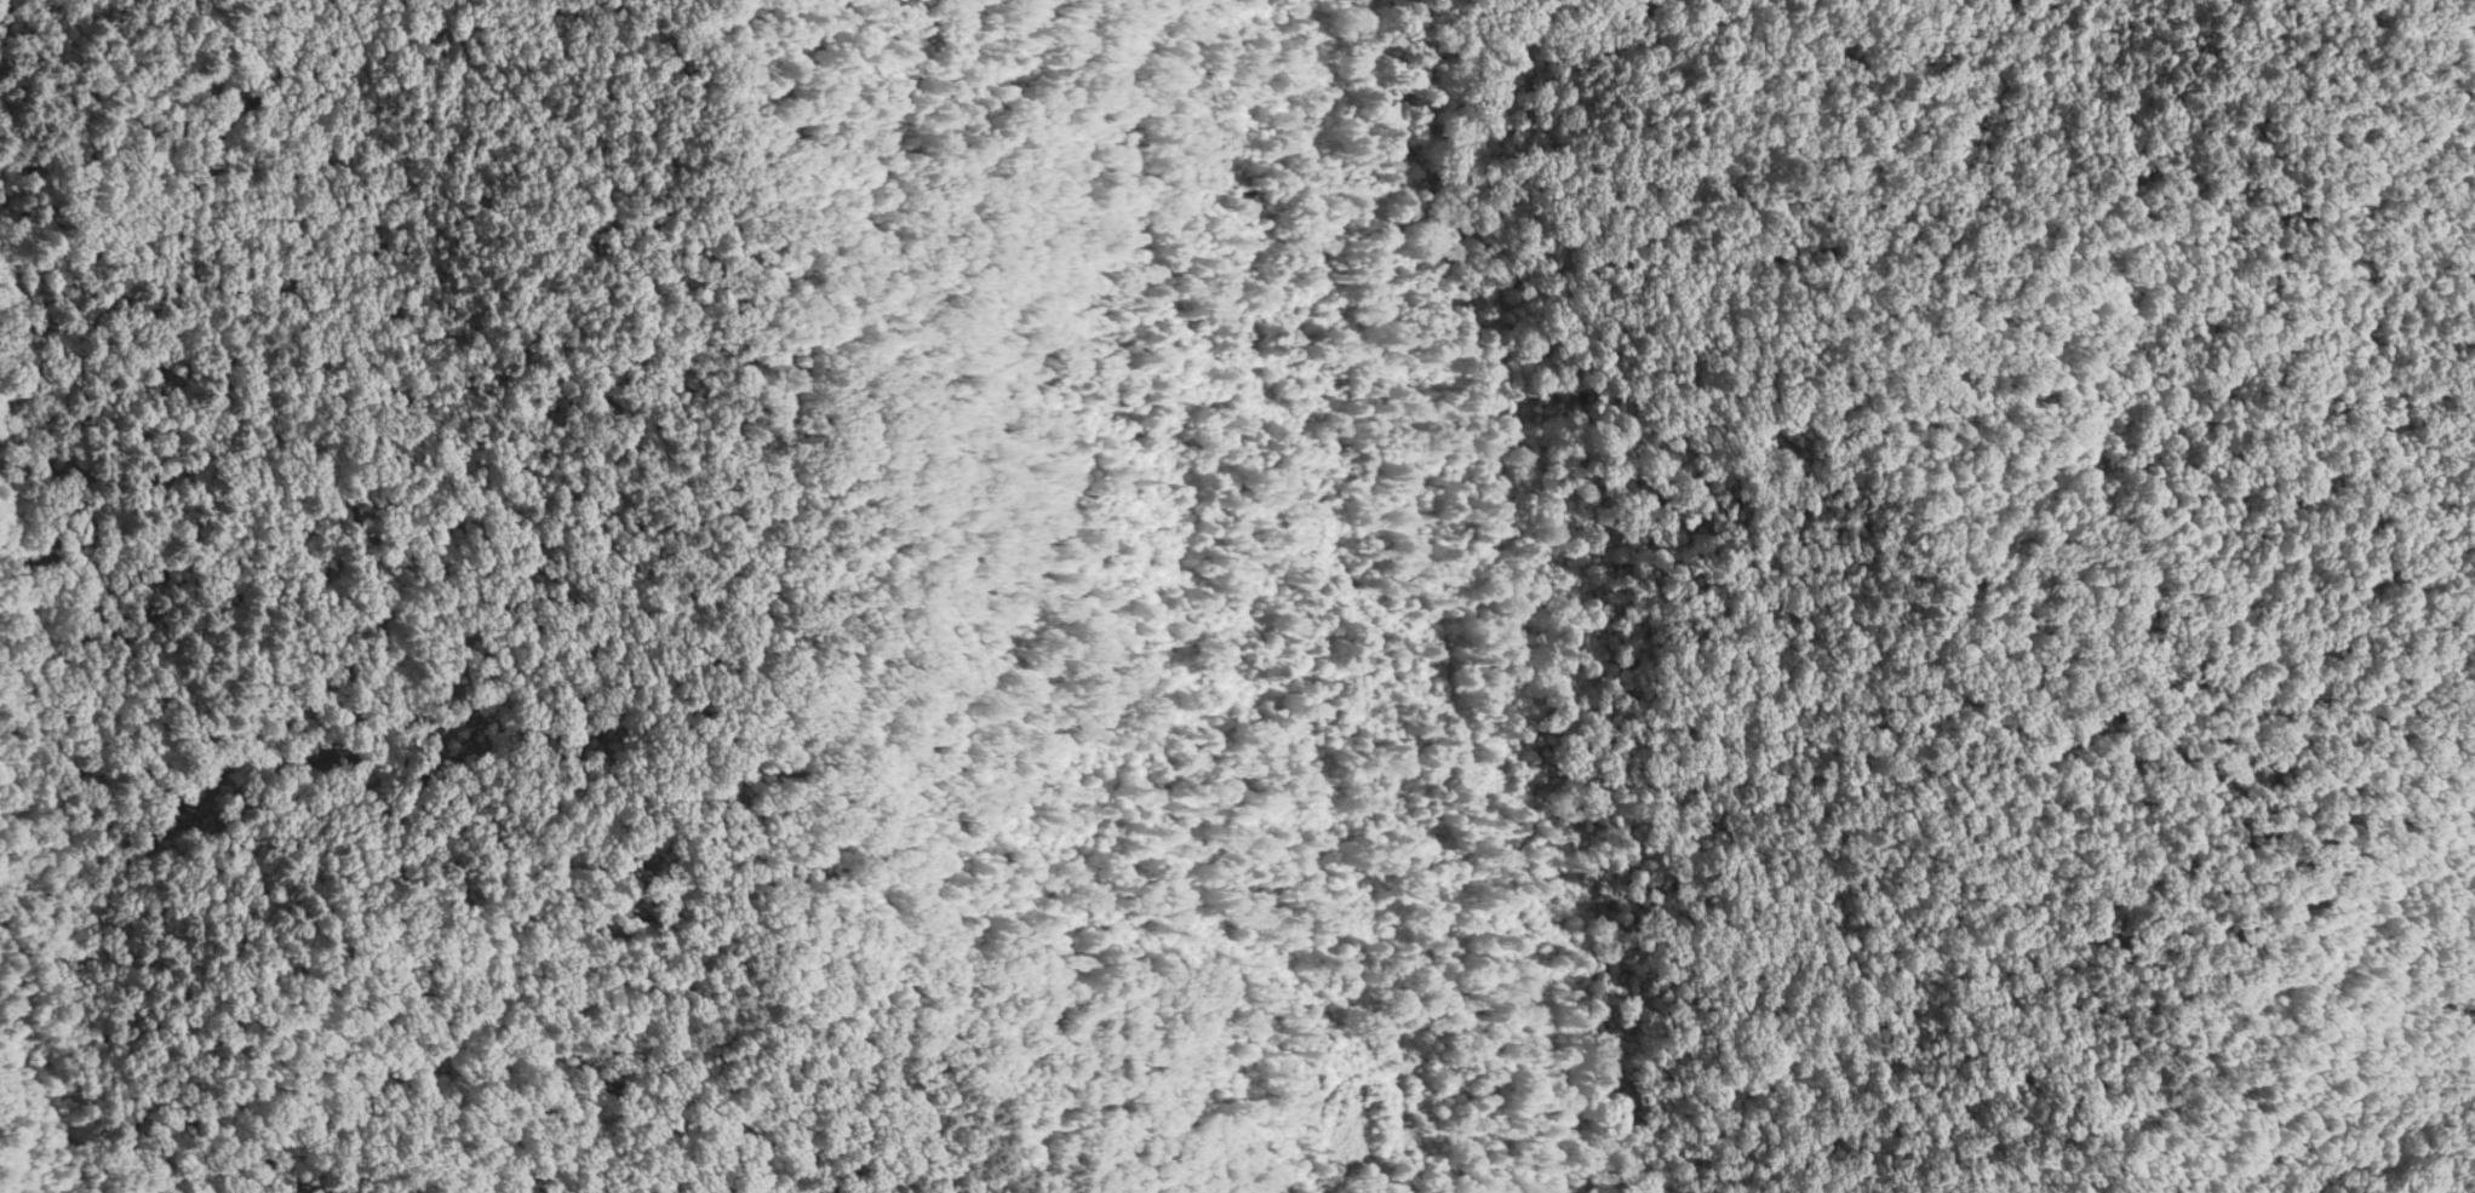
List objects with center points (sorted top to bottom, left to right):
road: (30, 1111)

